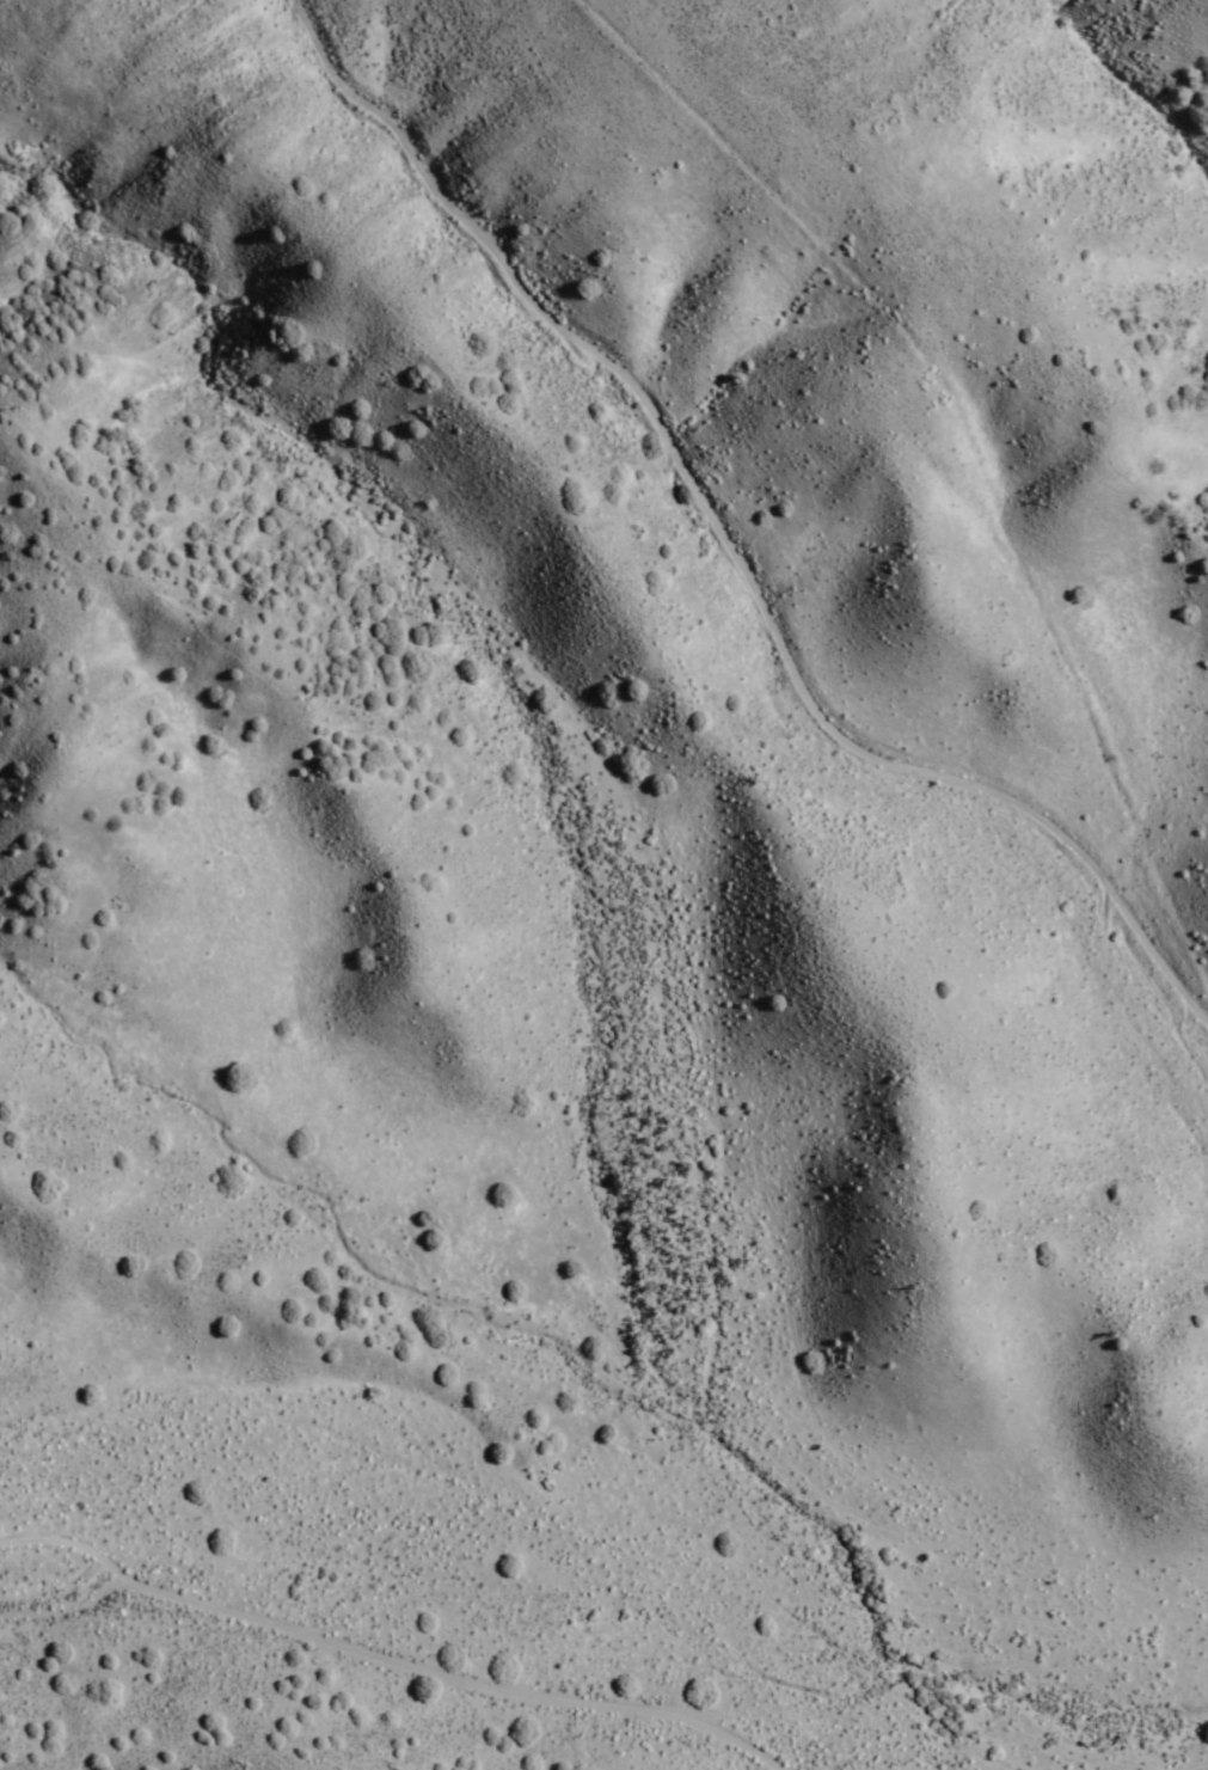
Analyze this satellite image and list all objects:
road: (729, 539)
road: (380, 1662)

